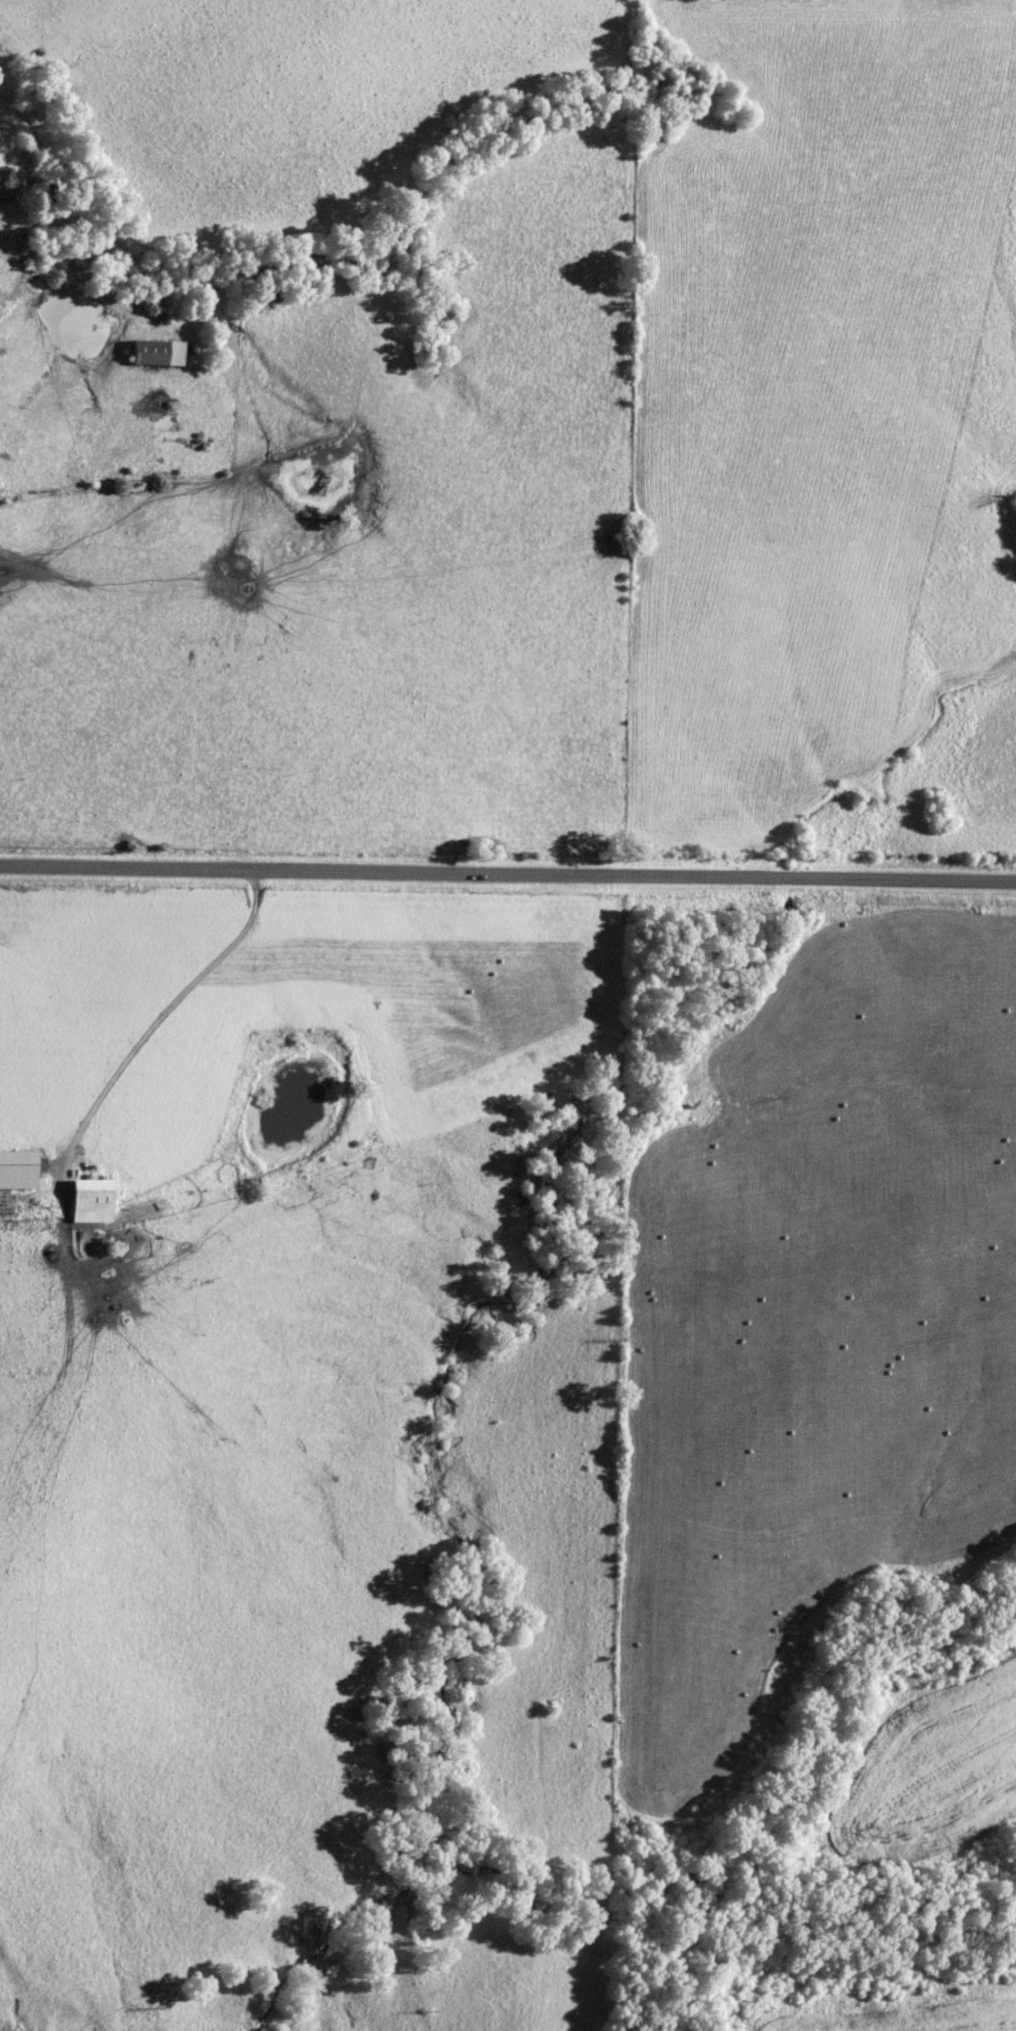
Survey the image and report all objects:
building: (0, 190)
building: (157, 352)
road: (507, 877)
road: (141, 1042)
building: (17, 1171)
building: (92, 1201)

